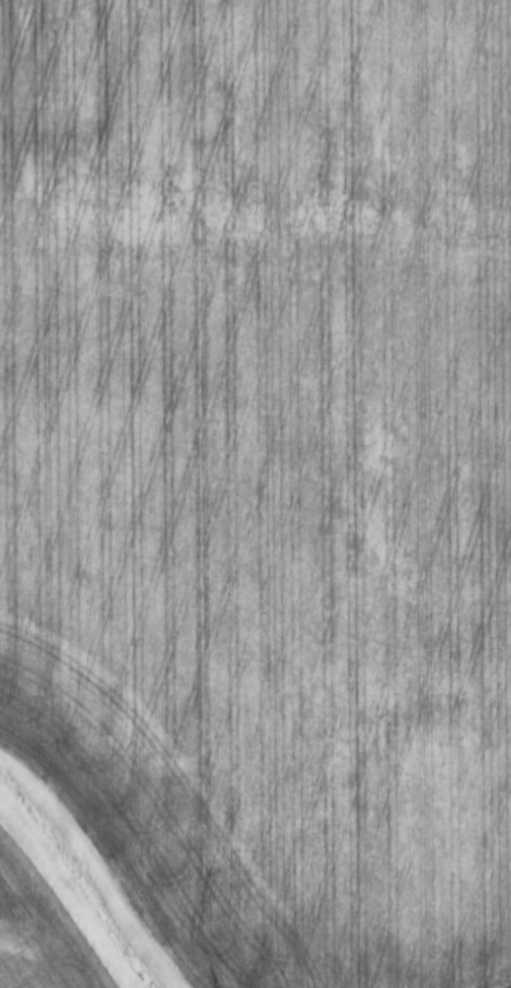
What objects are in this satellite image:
crop: (265, 472)
crop: (38, 932)

